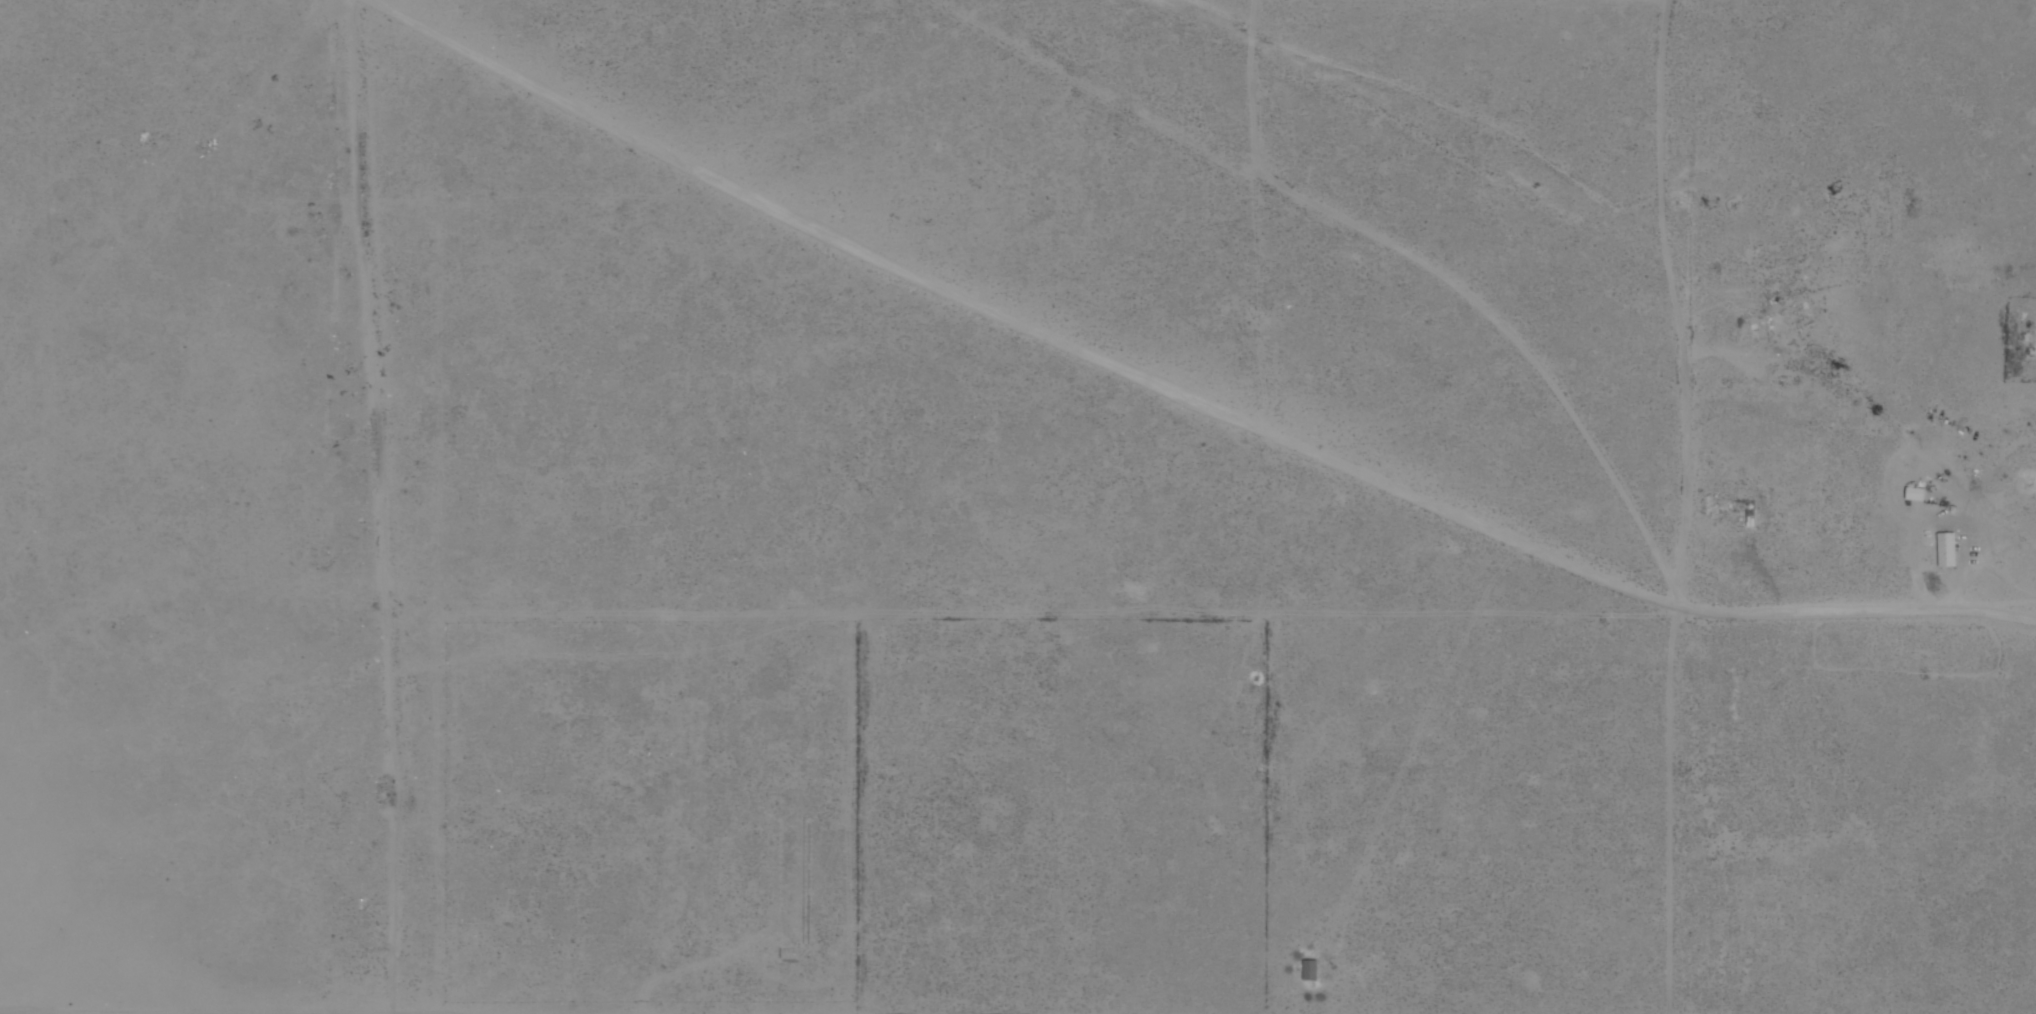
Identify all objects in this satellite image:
road: (412, 14)
road: (853, 232)
building: (1758, 327)
building: (1913, 495)
building: (1750, 517)
building: (1945, 551)
road: (1639, 589)
road: (390, 682)
building: (1312, 970)

